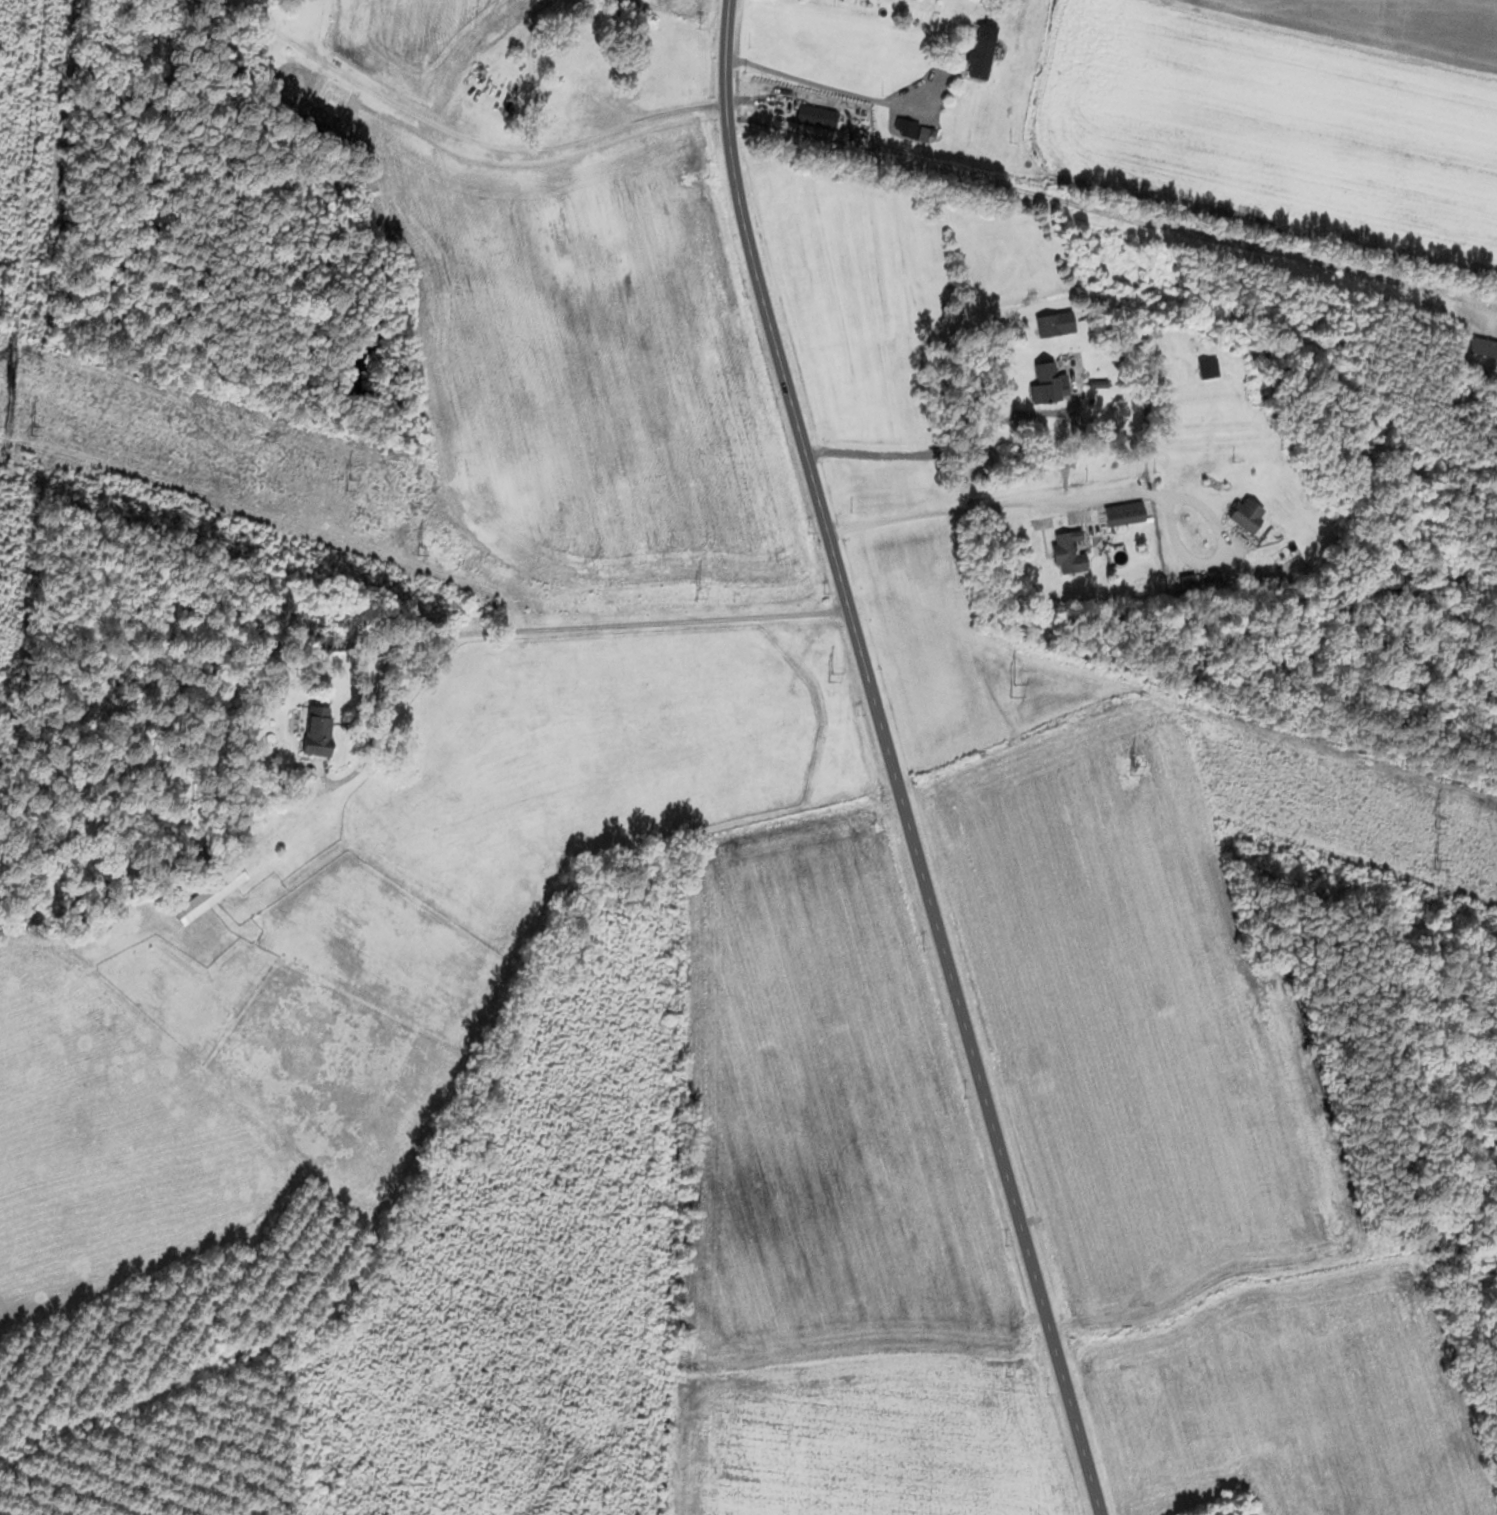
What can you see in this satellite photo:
building: (976, 55)
road: (848, 91)
building: (811, 115)
road: (486, 143)
building: (1050, 323)
building: (1480, 347)
building: (1039, 382)
road: (943, 452)
power tower: (354, 484)
road: (1097, 495)
building: (1120, 513)
building: (1241, 514)
building: (1063, 551)
power tower: (702, 590)
road: (607, 625)
power tower: (1006, 686)
road: (890, 761)
power tower: (1437, 819)
building: (204, 893)

